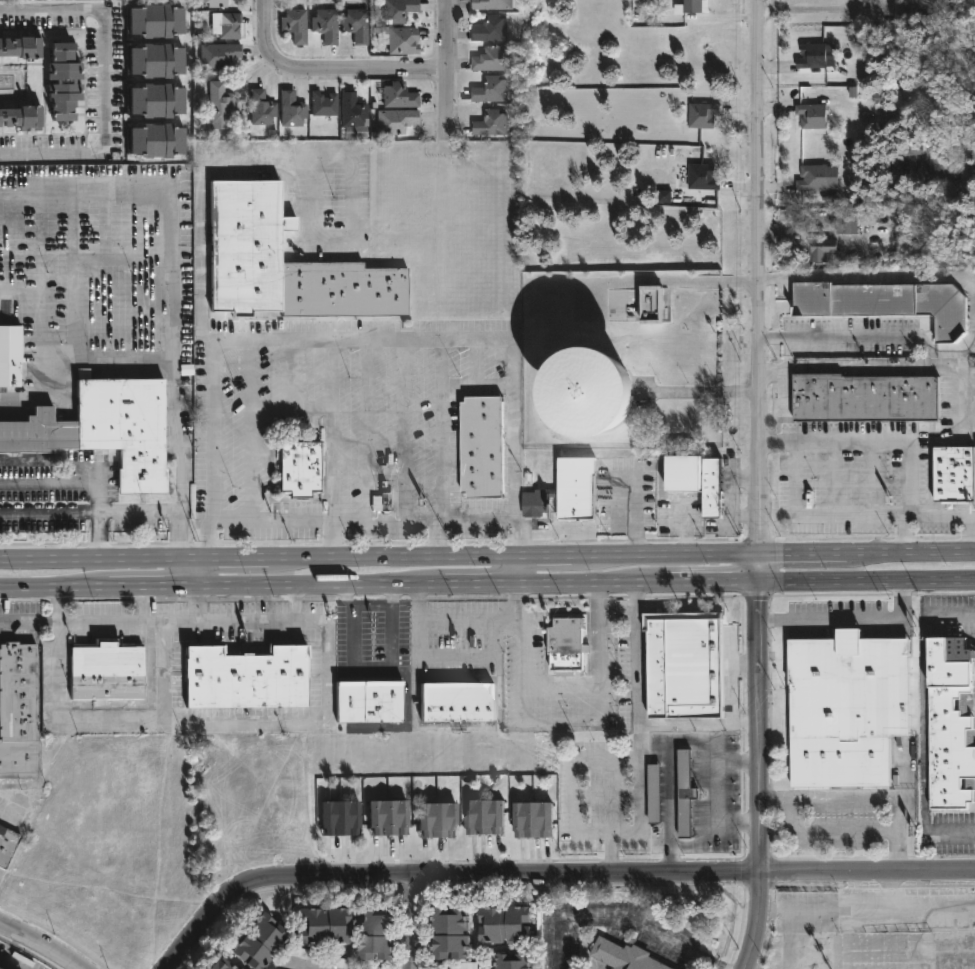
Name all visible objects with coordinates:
building: (916, 2)
building: (217, 3)
building: (493, 4)
building: (694, 6)
road: (816, 9)
building: (400, 10)
building: (155, 21)
building: (295, 25)
building: (327, 25)
building: (358, 25)
building: (232, 26)
building: (491, 28)
building: (405, 42)
building: (23, 49)
building: (221, 55)
building: (811, 56)
building: (493, 59)
building: (155, 61)
road: (329, 68)
road: (448, 72)
building: (65, 82)
road: (104, 82)
building: (492, 90)
building: (400, 96)
building: (155, 102)
building: (326, 105)
building: (222, 106)
building: (263, 108)
building: (293, 110)
building: (354, 110)
building: (701, 115)
building: (810, 116)
building: (21, 118)
building: (399, 121)
building: (492, 123)
building: (156, 141)
road: (280, 157)
building: (701, 177)
building: (812, 177)
road: (165, 195)
building: (664, 196)
building: (843, 222)
building: (822, 249)
building: (291, 264)
road: (758, 276)
building: (644, 301)
building: (884, 301)
road: (842, 336)
road: (359, 339)
road: (170, 361)
road: (867, 366)
building: (14, 372)
water tower: (624, 386)
building: (592, 392)
road: (289, 395)
building: (866, 398)
road: (269, 408)
building: (106, 429)
road: (440, 429)
road: (250, 430)
road: (402, 430)
road: (331, 431)
road: (889, 442)
building: (487, 445)
building: (304, 468)
building: (951, 472)
building: (705, 478)
road: (89, 482)
building: (573, 490)
road: (140, 511)
road: (634, 516)
road: (49, 517)
road: (846, 517)
road: (362, 522)
road: (971, 533)
road: (434, 541)
road: (331, 542)
road: (912, 552)
road: (804, 554)
road: (639, 556)
road: (259, 561)
road: (758, 567)
road: (520, 572)
road: (191, 576)
road: (866, 580)
road: (708, 581)
road: (589, 583)
road: (482, 584)
road: (318, 587)
road: (150, 589)
road: (54, 591)
road: (294, 603)
road: (142, 604)
road: (192, 604)
road: (57, 606)
road: (845, 617)
road: (28, 618)
road: (450, 621)
building: (569, 644)
building: (687, 664)
road: (371, 670)
building: (106, 671)
building: (247, 677)
road: (731, 682)
road: (560, 686)
building: (369, 701)
building: (462, 702)
building: (843, 707)
building: (21, 710)
road: (327, 717)
building: (947, 722)
road: (755, 725)
road: (697, 727)
road: (921, 728)
road: (638, 740)
building: (654, 793)
building: (685, 793)
road: (862, 794)
building: (490, 817)
building: (344, 818)
building: (390, 818)
building: (440, 819)
building: (539, 820)
building: (6, 844)
road: (867, 870)
road: (446, 877)
road: (622, 920)
road: (758, 920)
road: (413, 923)
building: (510, 924)
building: (328, 926)
building: (451, 931)
building: (383, 933)
building: (264, 942)
road: (42, 949)
building: (625, 956)
building: (319, 958)
building: (519, 961)
road: (8, 964)
building: (226, 965)
building: (241, 968)

